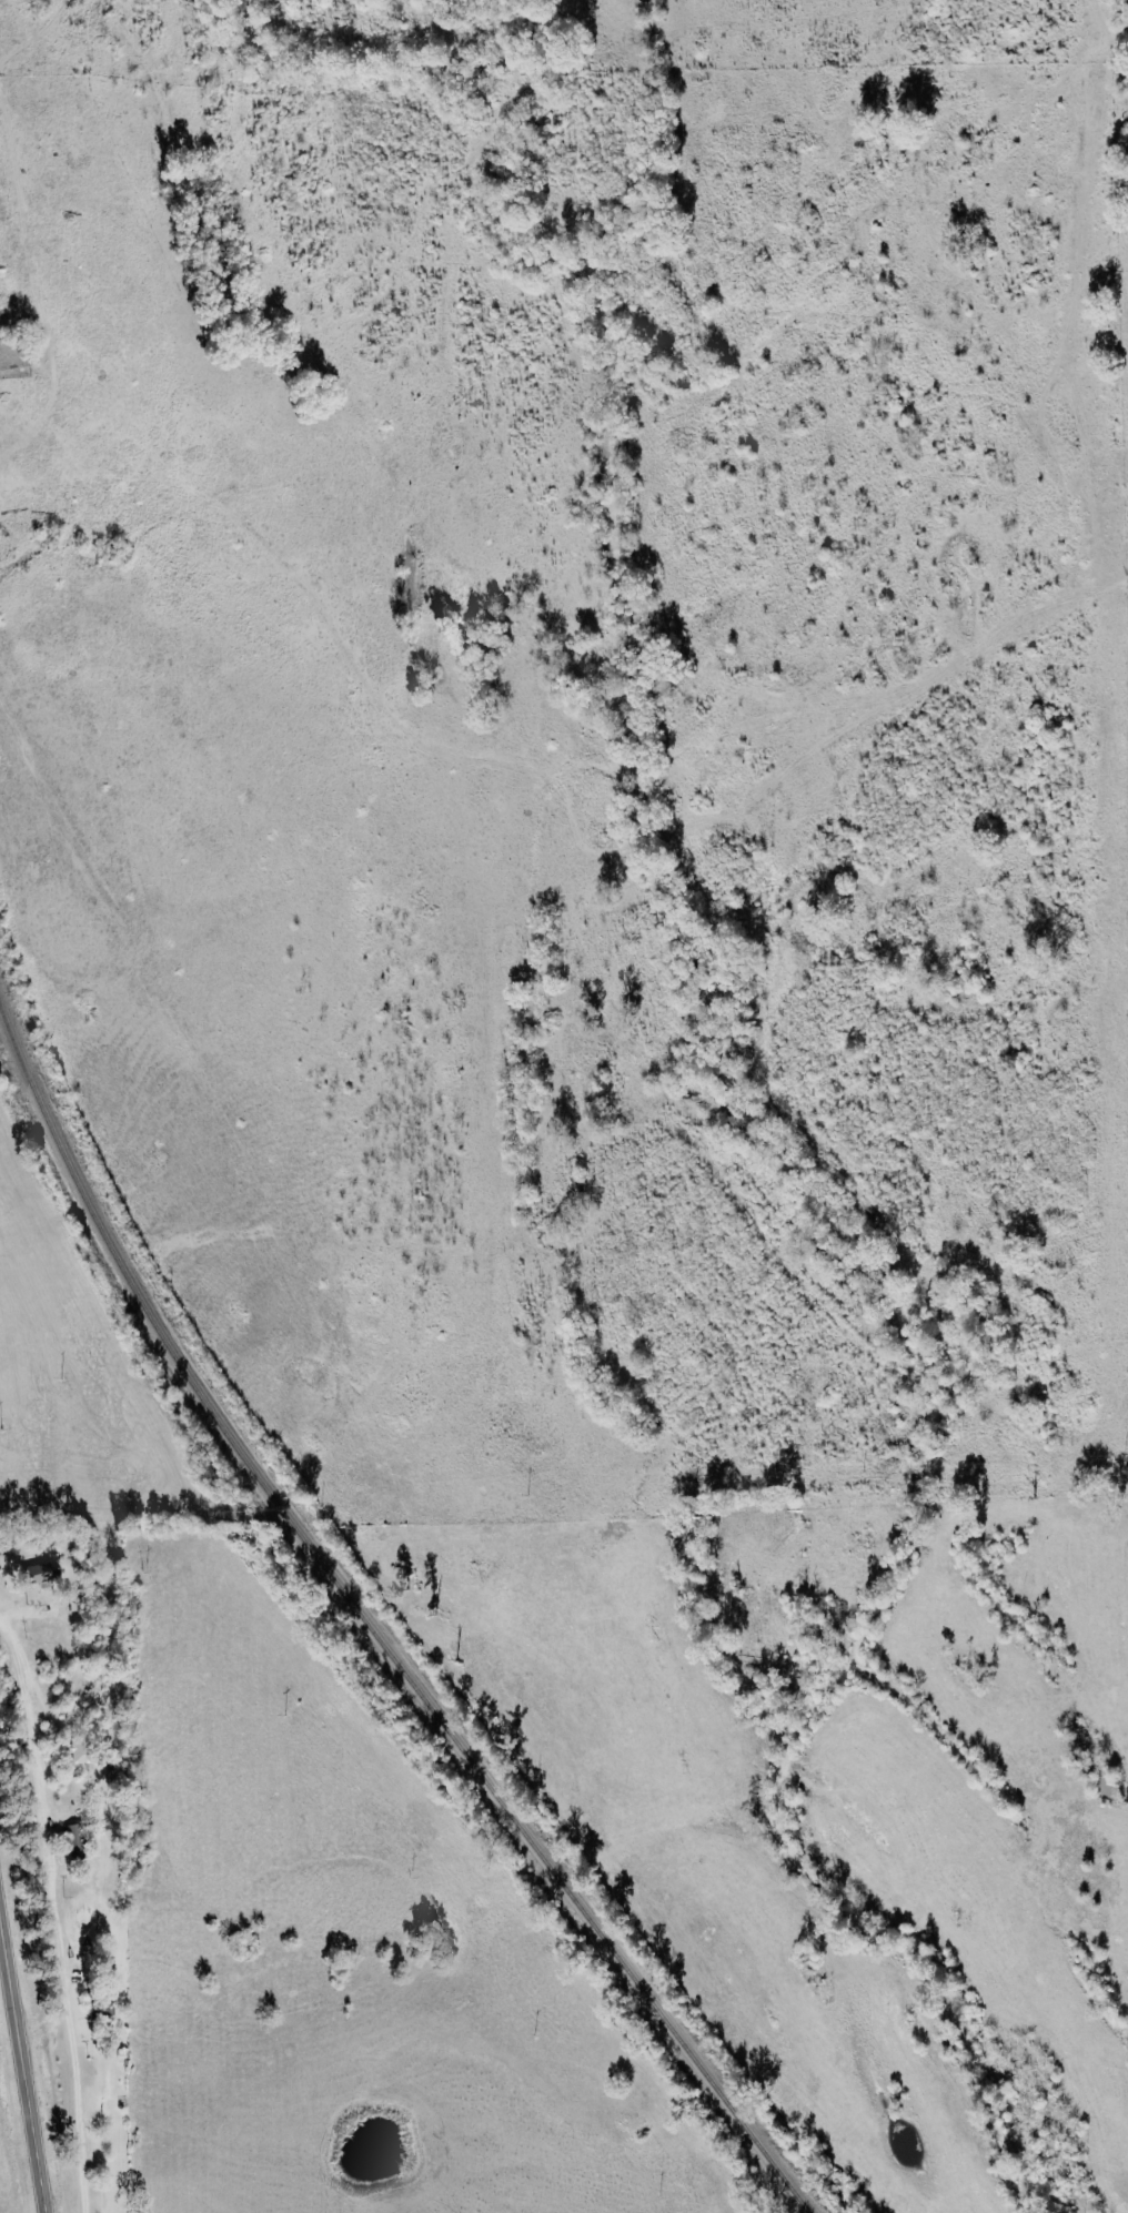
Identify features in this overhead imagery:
building: (36, 1573)
railway: (369, 1633)
building: (77, 1751)
building: (73, 1837)
road: (22, 2070)

